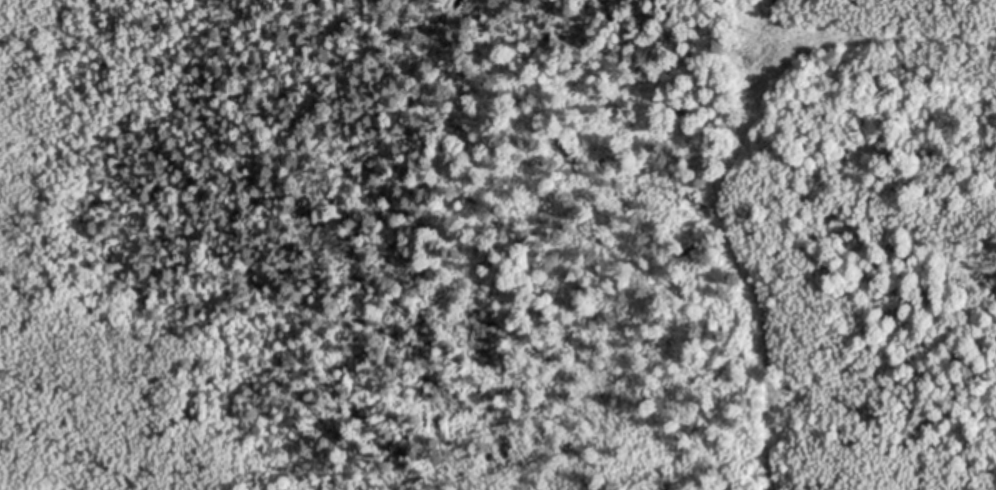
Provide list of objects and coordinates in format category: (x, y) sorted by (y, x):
road: (756, 35)
road: (733, 155)
road: (67, 487)

